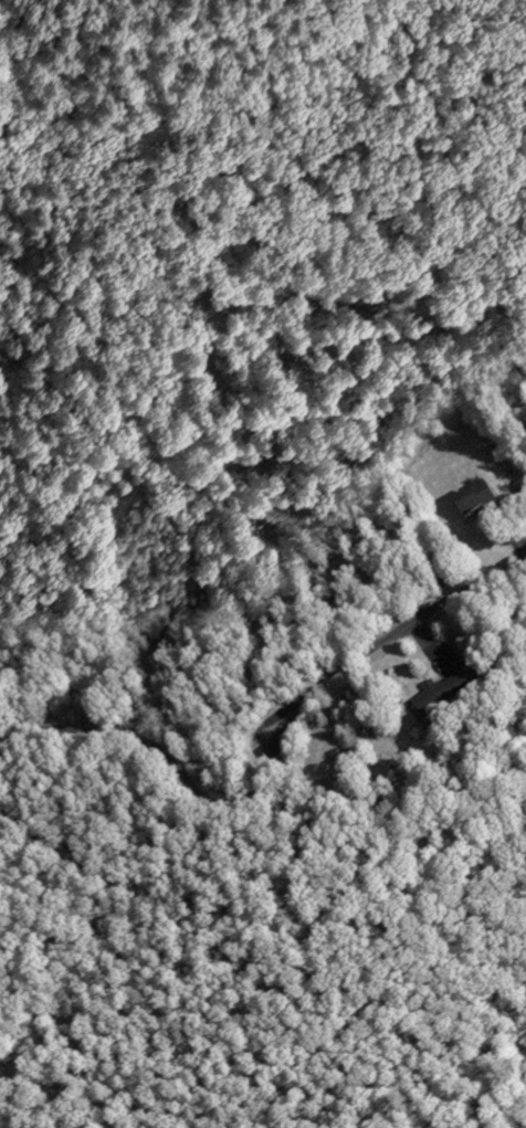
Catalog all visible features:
building: (461, 505)
road: (391, 643)
building: (442, 689)

